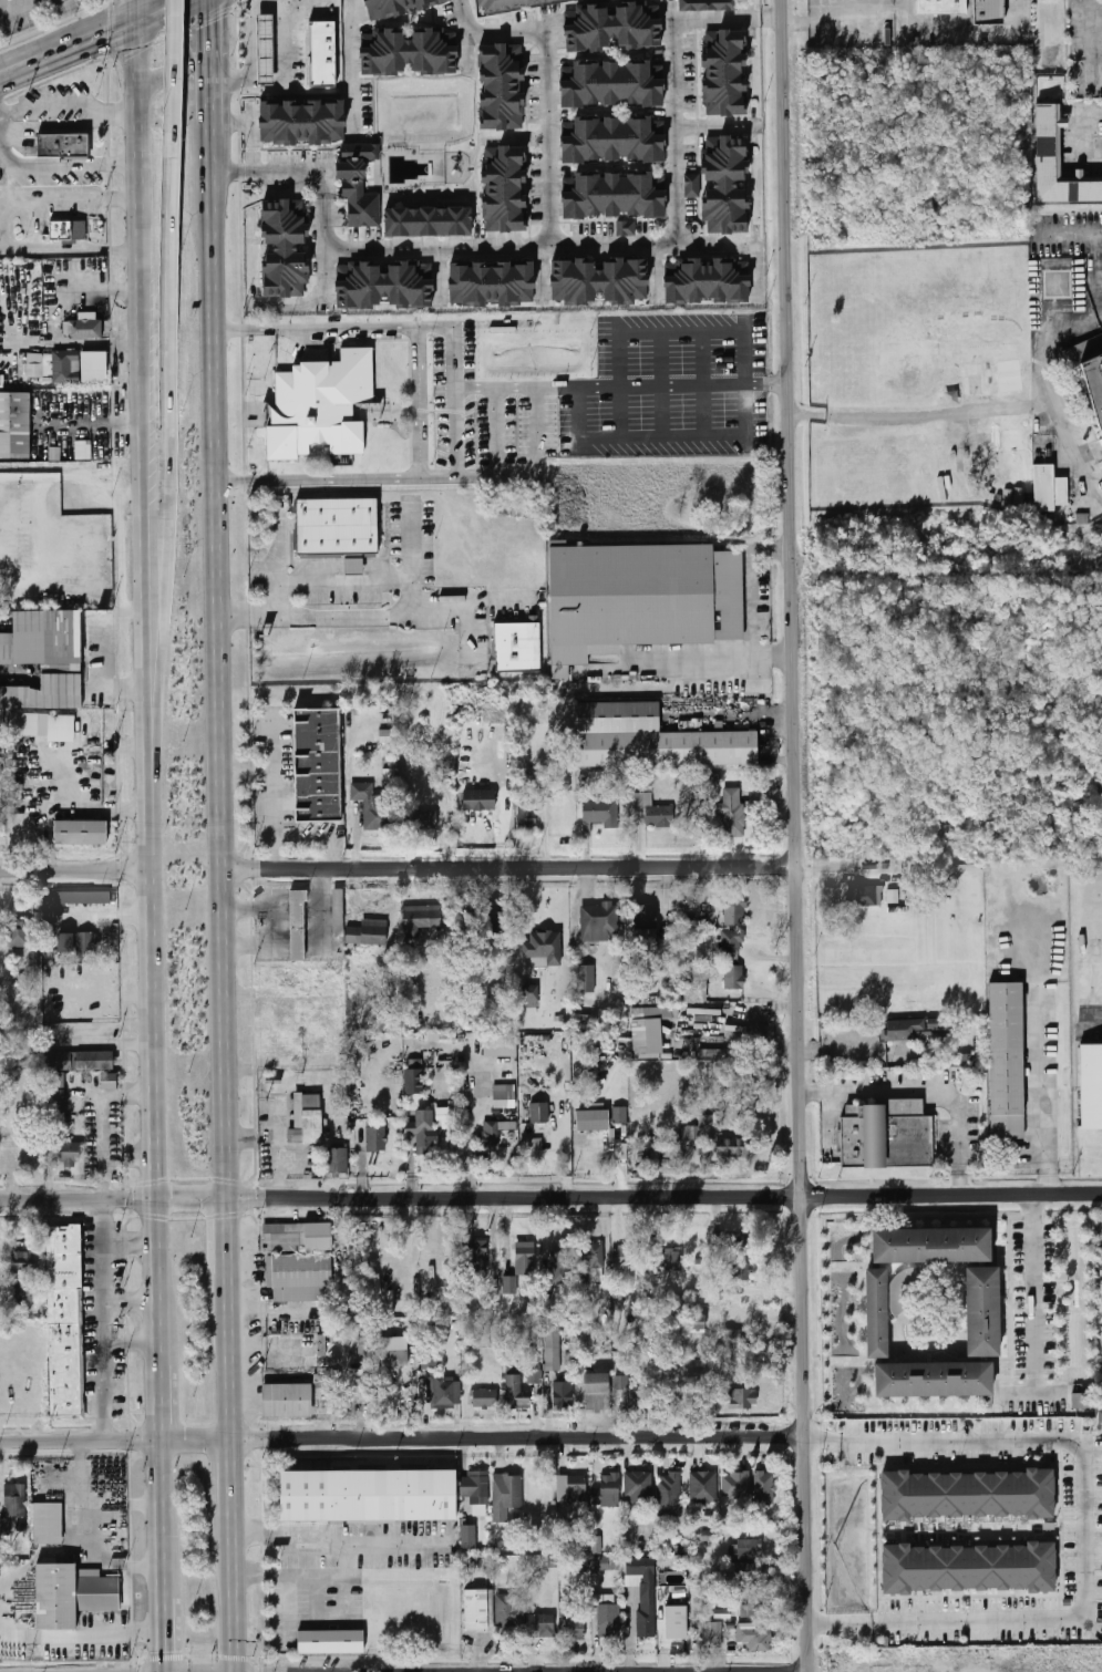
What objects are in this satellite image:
road: (195, 2)
road: (135, 3)
road: (142, 3)
building: (509, 3)
building: (708, 6)
building: (395, 7)
building: (941, 7)
building: (987, 11)
road: (114, 14)
road: (772, 16)
traffic signals: (213, 22)
road: (152, 23)
building: (610, 27)
road: (64, 42)
traffic signals: (105, 43)
traffic signals: (184, 44)
building: (261, 49)
gas station: (261, 49)
building: (318, 52)
building: (405, 52)
road: (68, 53)
road: (190, 60)
road: (352, 63)
road: (18, 66)
road: (176, 66)
road: (213, 68)
building: (723, 73)
road: (185, 85)
building: (608, 85)
building: (499, 87)
road: (69, 107)
building: (300, 122)
building: (612, 141)
road: (138, 142)
building: (64, 145)
road: (677, 146)
building: (1057, 163)
road: (68, 166)
road: (254, 171)
road: (234, 172)
building: (356, 183)
building: (721, 185)
building: (502, 188)
road: (215, 189)
building: (612, 196)
building: (426, 221)
road: (6, 224)
road: (553, 228)
building: (626, 228)
building: (66, 230)
road: (1069, 230)
road: (742, 240)
building: (281, 247)
road: (1099, 259)
building: (597, 281)
building: (704, 281)
building: (490, 283)
helipad: (1059, 285)
building: (382, 286)
road: (320, 303)
building: (85, 330)
road: (681, 331)
building: (76, 367)
road: (144, 380)
building: (1094, 382)
road: (661, 384)
road: (621, 385)
road: (703, 385)
road: (746, 385)
road: (475, 386)
road: (454, 400)
building: (325, 401)
road: (579, 413)
road: (979, 413)
building: (19, 426)
road: (662, 440)
road: (456, 445)
building: (83, 450)
road: (1075, 457)
road: (171, 460)
road: (523, 477)
road: (398, 478)
building: (1046, 488)
building: (1063, 491)
building: (339, 526)
building: (353, 566)
building: (640, 599)
road: (410, 605)
road: (466, 605)
road: (753, 606)
road: (150, 633)
building: (42, 639)
building: (517, 648)
building: (35, 694)
building: (496, 715)
road: (224, 722)
building: (28, 724)
building: (652, 739)
building: (321, 765)
road: (250, 766)
road: (275, 797)
building: (478, 799)
building: (369, 806)
building: (653, 811)
building: (600, 812)
building: (732, 812)
building: (420, 819)
building: (526, 819)
road: (153, 830)
building: (82, 834)
road: (796, 835)
road: (511, 868)
road: (76, 874)
building: (864, 897)
building: (79, 898)
building: (338, 910)
building: (733, 911)
building: (645, 917)
building: (421, 919)
building: (493, 923)
building: (597, 923)
road: (526, 925)
building: (297, 926)
road: (575, 931)
building: (373, 932)
building: (18, 933)
building: (732, 941)
building: (78, 945)
building: (546, 947)
building: (526, 950)
building: (694, 971)
building: (733, 978)
building: (586, 979)
road: (156, 993)
building: (531, 993)
building: (648, 1029)
building: (916, 1029)
building: (92, 1060)
building: (1008, 1060)
building: (8, 1067)
building: (413, 1076)
building: (107, 1081)
building: (1092, 1087)
road: (928, 1090)
building: (505, 1093)
building: (54, 1097)
road: (1036, 1097)
building: (619, 1115)
road: (832, 1118)
building: (306, 1119)
road: (105, 1121)
building: (539, 1121)
building: (591, 1121)
building: (422, 1128)
road: (471, 1129)
building: (688, 1133)
building: (490, 1136)
building: (888, 1136)
building: (375, 1139)
building: (725, 1139)
building: (69, 1153)
road: (159, 1157)
building: (337, 1163)
road: (550, 1198)
building: (298, 1237)
building: (731, 1240)
road: (235, 1242)
road: (133, 1245)
building: (933, 1247)
building: (473, 1257)
building: (625, 1258)
building: (667, 1258)
building: (22, 1261)
building: (590, 1263)
building: (521, 1266)
building: (559, 1268)
building: (741, 1271)
building: (300, 1278)
road: (162, 1281)
road: (1034, 1292)
building: (14, 1300)
road: (133, 1301)
building: (983, 1313)
building: (878, 1314)
building: (65, 1319)
building: (351, 1320)
road: (105, 1322)
building: (731, 1338)
road: (134, 1343)
building: (554, 1349)
building: (430, 1356)
building: (394, 1358)
road: (235, 1361)
building: (535, 1376)
building: (935, 1381)
building: (361, 1387)
building: (596, 1391)
building: (446, 1392)
building: (515, 1394)
building: (628, 1394)
building: (323, 1395)
building: (563, 1395)
building: (484, 1397)
building: (742, 1399)
building: (288, 1400)
road: (163, 1401)
building: (1081, 1401)
building: (1100, 1416)
road: (402, 1439)
road: (235, 1478)
building: (474, 1485)
building: (735, 1485)
building: (703, 1487)
building: (571, 1488)
building: (639, 1488)
building: (764, 1488)
building: (607, 1490)
building: (370, 1494)
building: (669, 1495)
building: (967, 1495)
building: (507, 1496)
road: (80, 1497)
building: (14, 1500)
road: (164, 1518)
building: (47, 1524)
road: (1085, 1529)
road: (340, 1535)
building: (468, 1536)
building: (596, 1545)
building: (745, 1549)
road: (37, 1560)
building: (605, 1563)
road: (121, 1565)
building: (969, 1568)
building: (744, 1570)
road: (315, 1578)
building: (645, 1591)
building: (70, 1594)
road: (235, 1594)
road: (316, 1600)
road: (344, 1601)
road: (289, 1608)
building: (751, 1608)
building: (477, 1609)
building: (511, 1610)
building: (608, 1619)
building: (576, 1622)
building: (677, 1622)
building: (544, 1624)
road: (166, 1634)
road: (79, 1635)
building: (712, 1635)
building: (754, 1637)
building: (330, 1642)
traffic signals: (166, 1655)

